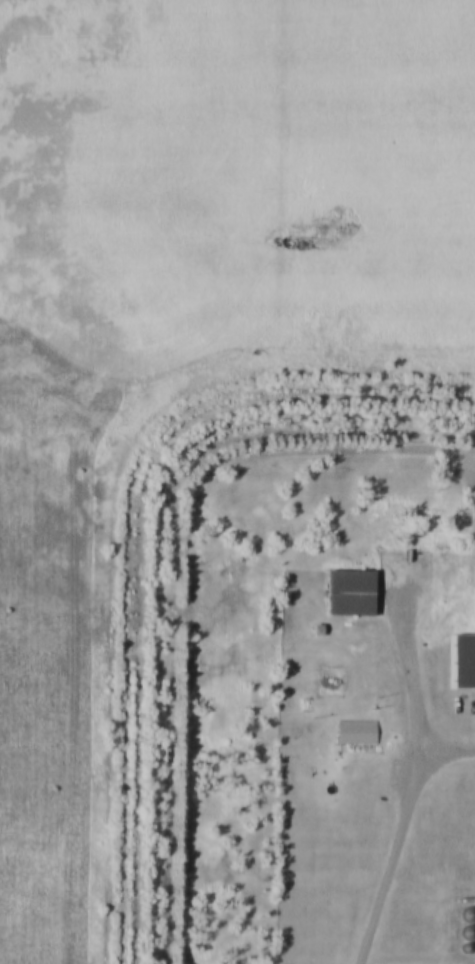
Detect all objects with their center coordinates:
building: (352, 584)
building: (463, 655)
building: (357, 724)
road: (443, 764)
road: (410, 796)
building: (469, 907)
silo: (469, 907)
building: (469, 925)
silo: (469, 925)
building: (467, 940)
silo: (467, 940)

